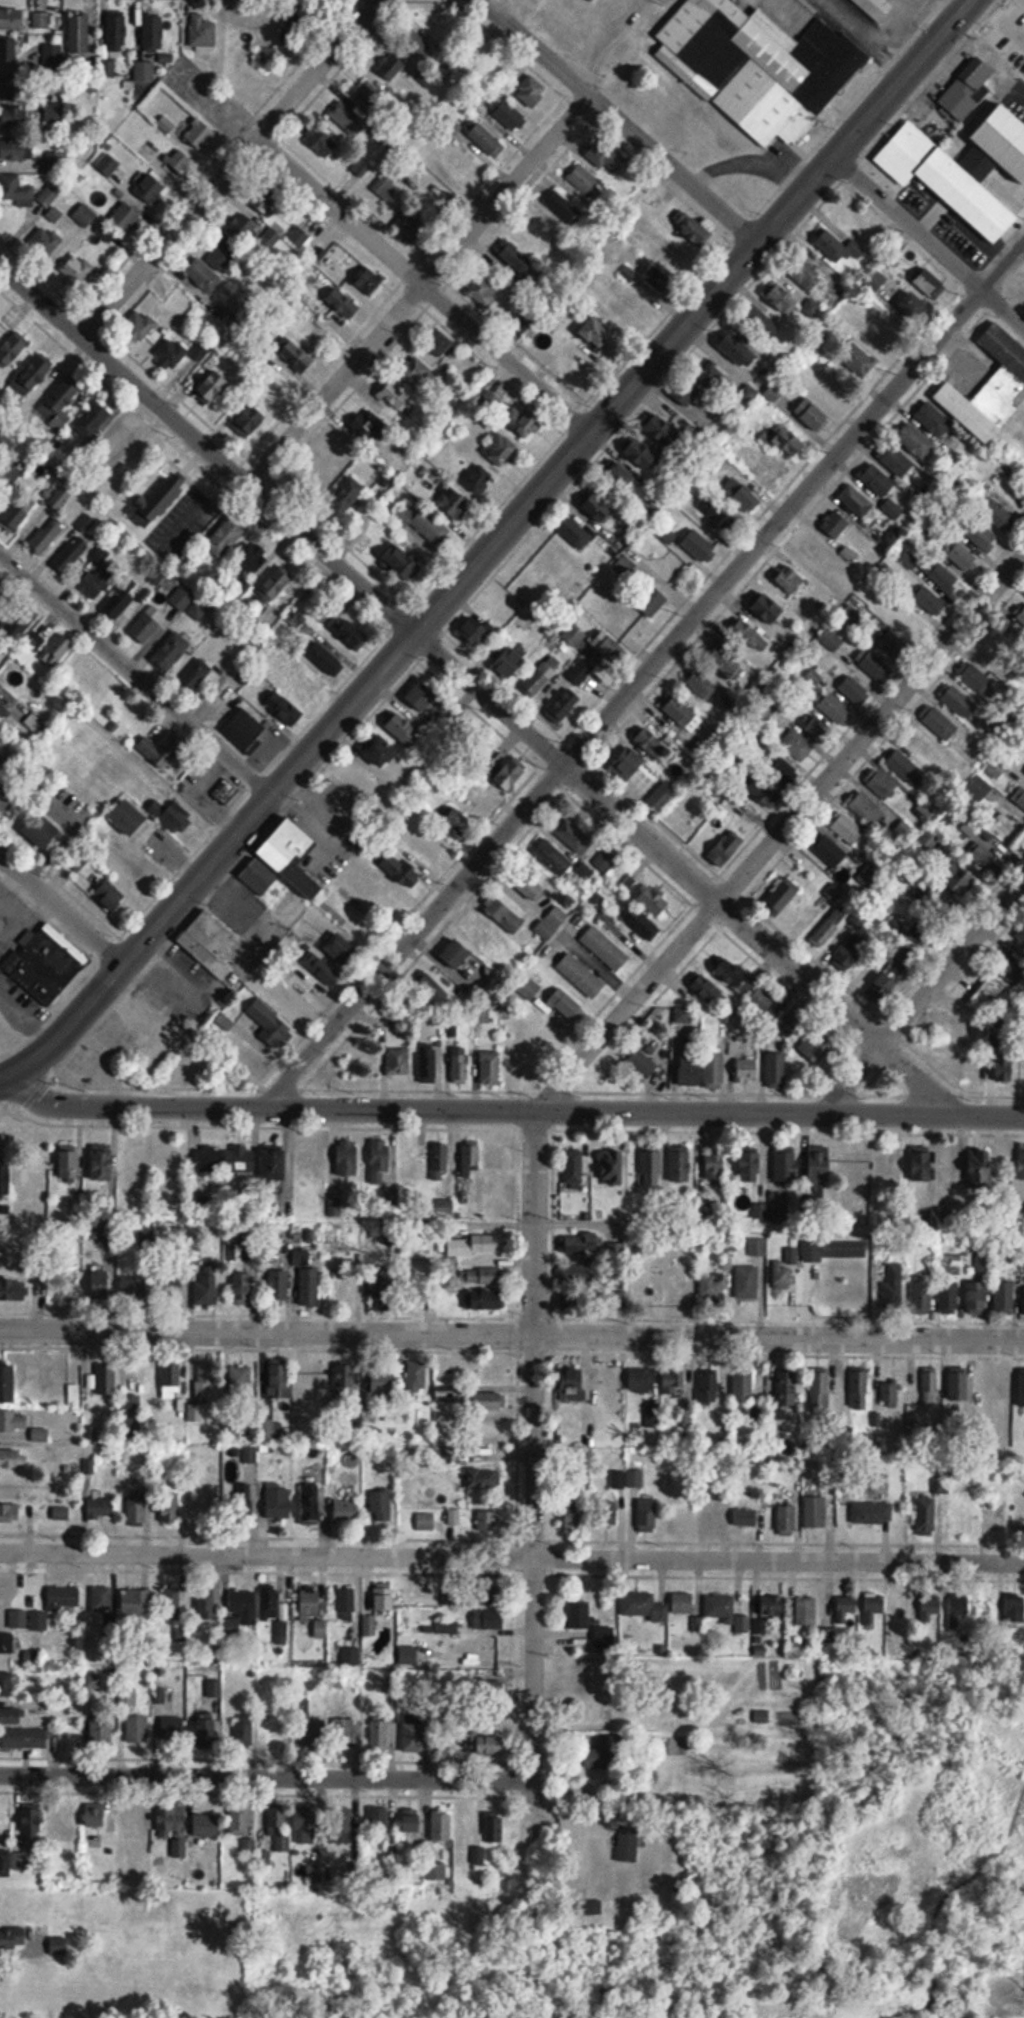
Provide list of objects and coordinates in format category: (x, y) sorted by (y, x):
building: (593, 0)
building: (876, 9)
building: (11, 19)
building: (41, 21)
building: (116, 31)
building: (153, 31)
building: (202, 32)
building: (79, 34)
building: (8, 49)
building: (270, 54)
building: (393, 65)
building: (764, 68)
building: (145, 71)
building: (968, 90)
building: (531, 92)
building: (370, 93)
building: (54, 112)
building: (507, 115)
building: (15, 116)
building: (346, 118)
road: (619, 121)
building: (199, 134)
building: (486, 140)
building: (322, 143)
building: (16, 151)
building: (607, 160)
road: (229, 169)
building: (584, 180)
building: (947, 180)
building: (385, 187)
building: (151, 189)
building: (16, 190)
building: (50, 193)
building: (264, 202)
building: (560, 210)
building: (84, 214)
building: (125, 217)
building: (245, 227)
building: (411, 229)
building: (694, 229)
building: (299, 236)
building: (44, 241)
road: (929, 241)
building: (839, 248)
building: (223, 257)
building: (514, 260)
building: (76, 270)
building: (203, 275)
building: (804, 275)
building: (368, 281)
building: (660, 281)
building: (929, 284)
road: (424, 285)
road: (417, 290)
building: (779, 297)
building: (343, 303)
building: (913, 305)
building: (620, 308)
building: (760, 323)
building: (139, 326)
building: (887, 326)
building: (320, 332)
building: (439, 343)
building: (12, 348)
building: (737, 349)
building: (200, 351)
building: (170, 353)
building: (295, 356)
building: (860, 361)
building: (416, 372)
building: (34, 374)
building: (990, 386)
building: (212, 387)
building: (275, 388)
building: (689, 396)
building: (395, 398)
building: (60, 404)
building: (813, 415)
building: (933, 419)
building: (93, 421)
building: (250, 422)
building: (524, 422)
building: (663, 431)
building: (916, 440)
building: (790, 442)
building: (5, 444)
building: (118, 448)
building: (500, 450)
building: (643, 455)
building: (897, 460)
building: (762, 468)
building: (10, 475)
building: (621, 477)
building: (320, 478)
building: (479, 480)
building: (877, 480)
building: (741, 495)
building: (160, 497)
building: (60, 498)
building: (345, 498)
building: (857, 502)
building: (453, 503)
building: (599, 508)
building: (716, 513)
building: (998, 513)
building: (19, 515)
building: (835, 523)
building: (431, 526)
building: (574, 532)
building: (980, 534)
building: (47, 536)
building: (225, 538)
road: (490, 547)
building: (700, 547)
building: (815, 548)
building: (71, 555)
building: (962, 556)
building: (252, 558)
building: (553, 558)
building: (402, 563)
building: (625, 567)
building: (94, 575)
building: (789, 577)
building: (943, 577)
building: (272, 588)
building: (4, 591)
building: (180, 600)
building: (929, 600)
building: (652, 602)
building: (119, 604)
building: (768, 607)
building: (1021, 616)
building: (632, 622)
building: (20, 623)
building: (148, 624)
building: (1023, 629)
building: (480, 632)
building: (750, 634)
building: (352, 635)
building: (36, 639)
building: (832, 640)
building: (1007, 640)
building: (607, 646)
building: (895, 647)
building: (57, 651)
building: (171, 652)
building: (510, 660)
building: (325, 661)
building: (721, 663)
building: (873, 665)
road: (137, 675)
building: (195, 676)
road: (644, 676)
building: (540, 678)
building: (299, 685)
road: (479, 690)
building: (854, 690)
building: (422, 694)
building: (957, 700)
building: (564, 704)
building: (834, 707)
building: (285, 710)
building: (681, 712)
building: (36, 717)
building: (939, 723)
building: (402, 727)
building: (246, 732)
building: (806, 737)
building: (652, 741)
building: (921, 744)
building: (173, 746)
building: (380, 749)
building: (5, 750)
building: (629, 762)
building: (902, 765)
building: (996, 766)
building: (781, 768)
building: (511, 773)
building: (355, 781)
building: (881, 784)
building: (762, 787)
building: (978, 789)
building: (226, 792)
building: (1020, 798)
building: (5, 799)
building: (660, 800)
building: (337, 807)
building: (867, 808)
building: (693, 814)
building: (173, 816)
building: (129, 819)
building: (846, 827)
building: (971, 827)
building: (42, 831)
building: (576, 836)
building: (432, 844)
building: (727, 846)
building: (829, 851)
building: (292, 854)
building: (984, 858)
building: (557, 860)
building: (604, 860)
building: (809, 865)
building: (402, 869)
building: (584, 871)
building: (258, 877)
building: (959, 878)
building: (525, 884)
building: (830, 889)
building: (783, 893)
building: (110, 895)
building: (655, 900)
building: (937, 900)
building: (594, 901)
building: (504, 914)
road: (60, 916)
building: (551, 922)
building: (640, 922)
building: (829, 925)
building: (923, 929)
building: (479, 934)
building: (209, 943)
building: (342, 948)
building: (605, 948)
building: (852, 952)
building: (457, 953)
building: (49, 965)
building: (731, 973)
building: (581, 975)
building: (884, 984)
building: (995, 984)
building: (531, 988)
building: (706, 988)
building: (432, 990)
road: (922, 995)
building: (566, 1003)
building: (758, 1006)
building: (683, 1016)
building: (294, 1017)
building: (268, 1024)
building: (784, 1026)
building: (816, 1045)
building: (252, 1058)
building: (399, 1061)
building: (644, 1063)
building: (428, 1064)
building: (460, 1064)
building: (526, 1064)
building: (191, 1065)
building: (490, 1067)
building: (1001, 1067)
building: (689, 1069)
building: (714, 1069)
building: (776, 1069)
building: (747, 1070)
building: (1023, 1071)
road: (549, 1094)
road: (513, 1110)
building: (497, 1156)
building: (470, 1157)
building: (311, 1158)
building: (347, 1158)
building: (208, 1159)
building: (241, 1159)
building: (69, 1162)
building: (102, 1162)
building: (276, 1163)
building: (381, 1163)
building: (680, 1163)
building: (819, 1163)
building: (923, 1163)
building: (751, 1164)
building: (889, 1164)
building: (1023, 1164)
building: (715, 1165)
building: (787, 1165)
building: (650, 1166)
building: (857, 1166)
building: (610, 1167)
building: (981, 1168)
building: (573, 1169)
building: (434, 1174)
building: (6, 1178)
building: (442, 1208)
building: (146, 1242)
building: (582, 1244)
building: (476, 1245)
building: (757, 1247)
building: (835, 1247)
building: (14, 1250)
building: (783, 1272)
building: (482, 1275)
building: (578, 1276)
building: (747, 1281)
building: (101, 1283)
building: (172, 1283)
building: (712, 1284)
building: (136, 1285)
building: (644, 1285)
building: (893, 1285)
building: (279, 1286)
building: (310, 1286)
building: (679, 1286)
building: (14, 1287)
building: (207, 1288)
building: (244, 1289)
building: (382, 1292)
building: (853, 1292)
building: (923, 1296)
building: (574, 1297)
building: (950, 1297)
building: (1005, 1297)
building: (488, 1299)
building: (978, 1299)
road: (512, 1335)
building: (610, 1375)
building: (345, 1377)
building: (417, 1377)
building: (106, 1378)
building: (279, 1378)
building: (170, 1379)
building: (204, 1379)
building: (241, 1380)
building: (641, 1380)
building: (674, 1380)
building: (572, 1381)
building: (7, 1383)
building: (383, 1383)
building: (743, 1385)
building: (929, 1385)
building: (958, 1385)
building: (709, 1387)
building: (786, 1387)
building: (819, 1387)
building: (1021, 1388)
building: (857, 1389)
building: (992, 1390)
building: (888, 1394)
building: (73, 1395)
building: (488, 1400)
building: (13, 1420)
building: (490, 1429)
building: (40, 1435)
building: (10, 1458)
building: (482, 1477)
building: (635, 1478)
building: (617, 1479)
building: (721, 1493)
building: (1019, 1493)
building: (197, 1498)
building: (242, 1500)
building: (279, 1502)
building: (171, 1503)
building: (313, 1504)
building: (381, 1504)
building: (100, 1508)
building: (137, 1509)
building: (348, 1509)
building: (815, 1511)
building: (10, 1512)
building: (872, 1512)
building: (61, 1513)
building: (575, 1514)
building: (647, 1515)
building: (926, 1515)
building: (454, 1516)
building: (746, 1517)
building: (678, 1518)
building: (788, 1519)
building: (489, 1520)
building: (426, 1521)
building: (712, 1522)
road: (511, 1558)
building: (12, 1592)
building: (384, 1597)
building: (63, 1598)
building: (101, 1599)
building: (136, 1602)
building: (171, 1603)
building: (271, 1603)
building: (346, 1603)
building: (683, 1603)
building: (205, 1605)
building: (243, 1605)
building: (310, 1605)
building: (641, 1605)
building: (721, 1607)
building: (772, 1607)
building: (874, 1607)
building: (929, 1607)
building: (1014, 1607)
building: (845, 1608)
building: (958, 1608)
building: (903, 1609)
building: (806, 1611)
building: (580, 1618)
building: (488, 1620)
building: (234, 1621)
building: (39, 1622)
building: (370, 1625)
building: (7, 1643)
building: (485, 1649)
building: (408, 1656)
building: (350, 1657)
building: (6, 1684)
building: (214, 1689)
building: (12, 1717)
building: (172, 1728)
building: (138, 1729)
building: (102, 1730)
building: (206, 1730)
building: (244, 1732)
building: (279, 1732)
building: (344, 1732)
building: (412, 1732)
building: (379, 1733)
building: (314, 1734)
building: (24, 1739)
building: (492, 1745)
building: (602, 1754)
road: (266, 1776)
building: (95, 1816)
building: (143, 1818)
building: (379, 1819)
building: (240, 1820)
building: (410, 1821)
building: (166, 1822)
building: (206, 1825)
building: (306, 1825)
building: (442, 1825)
building: (62, 1826)
building: (341, 1826)
building: (279, 1827)
building: (33, 1828)
building: (494, 1830)
park: (905, 1834)
building: (628, 1843)
building: (478, 1855)
building: (21, 1861)
building: (134, 1868)
building: (435, 1871)
building: (13, 1938)
building: (59, 1946)
road: (907, 2013)

